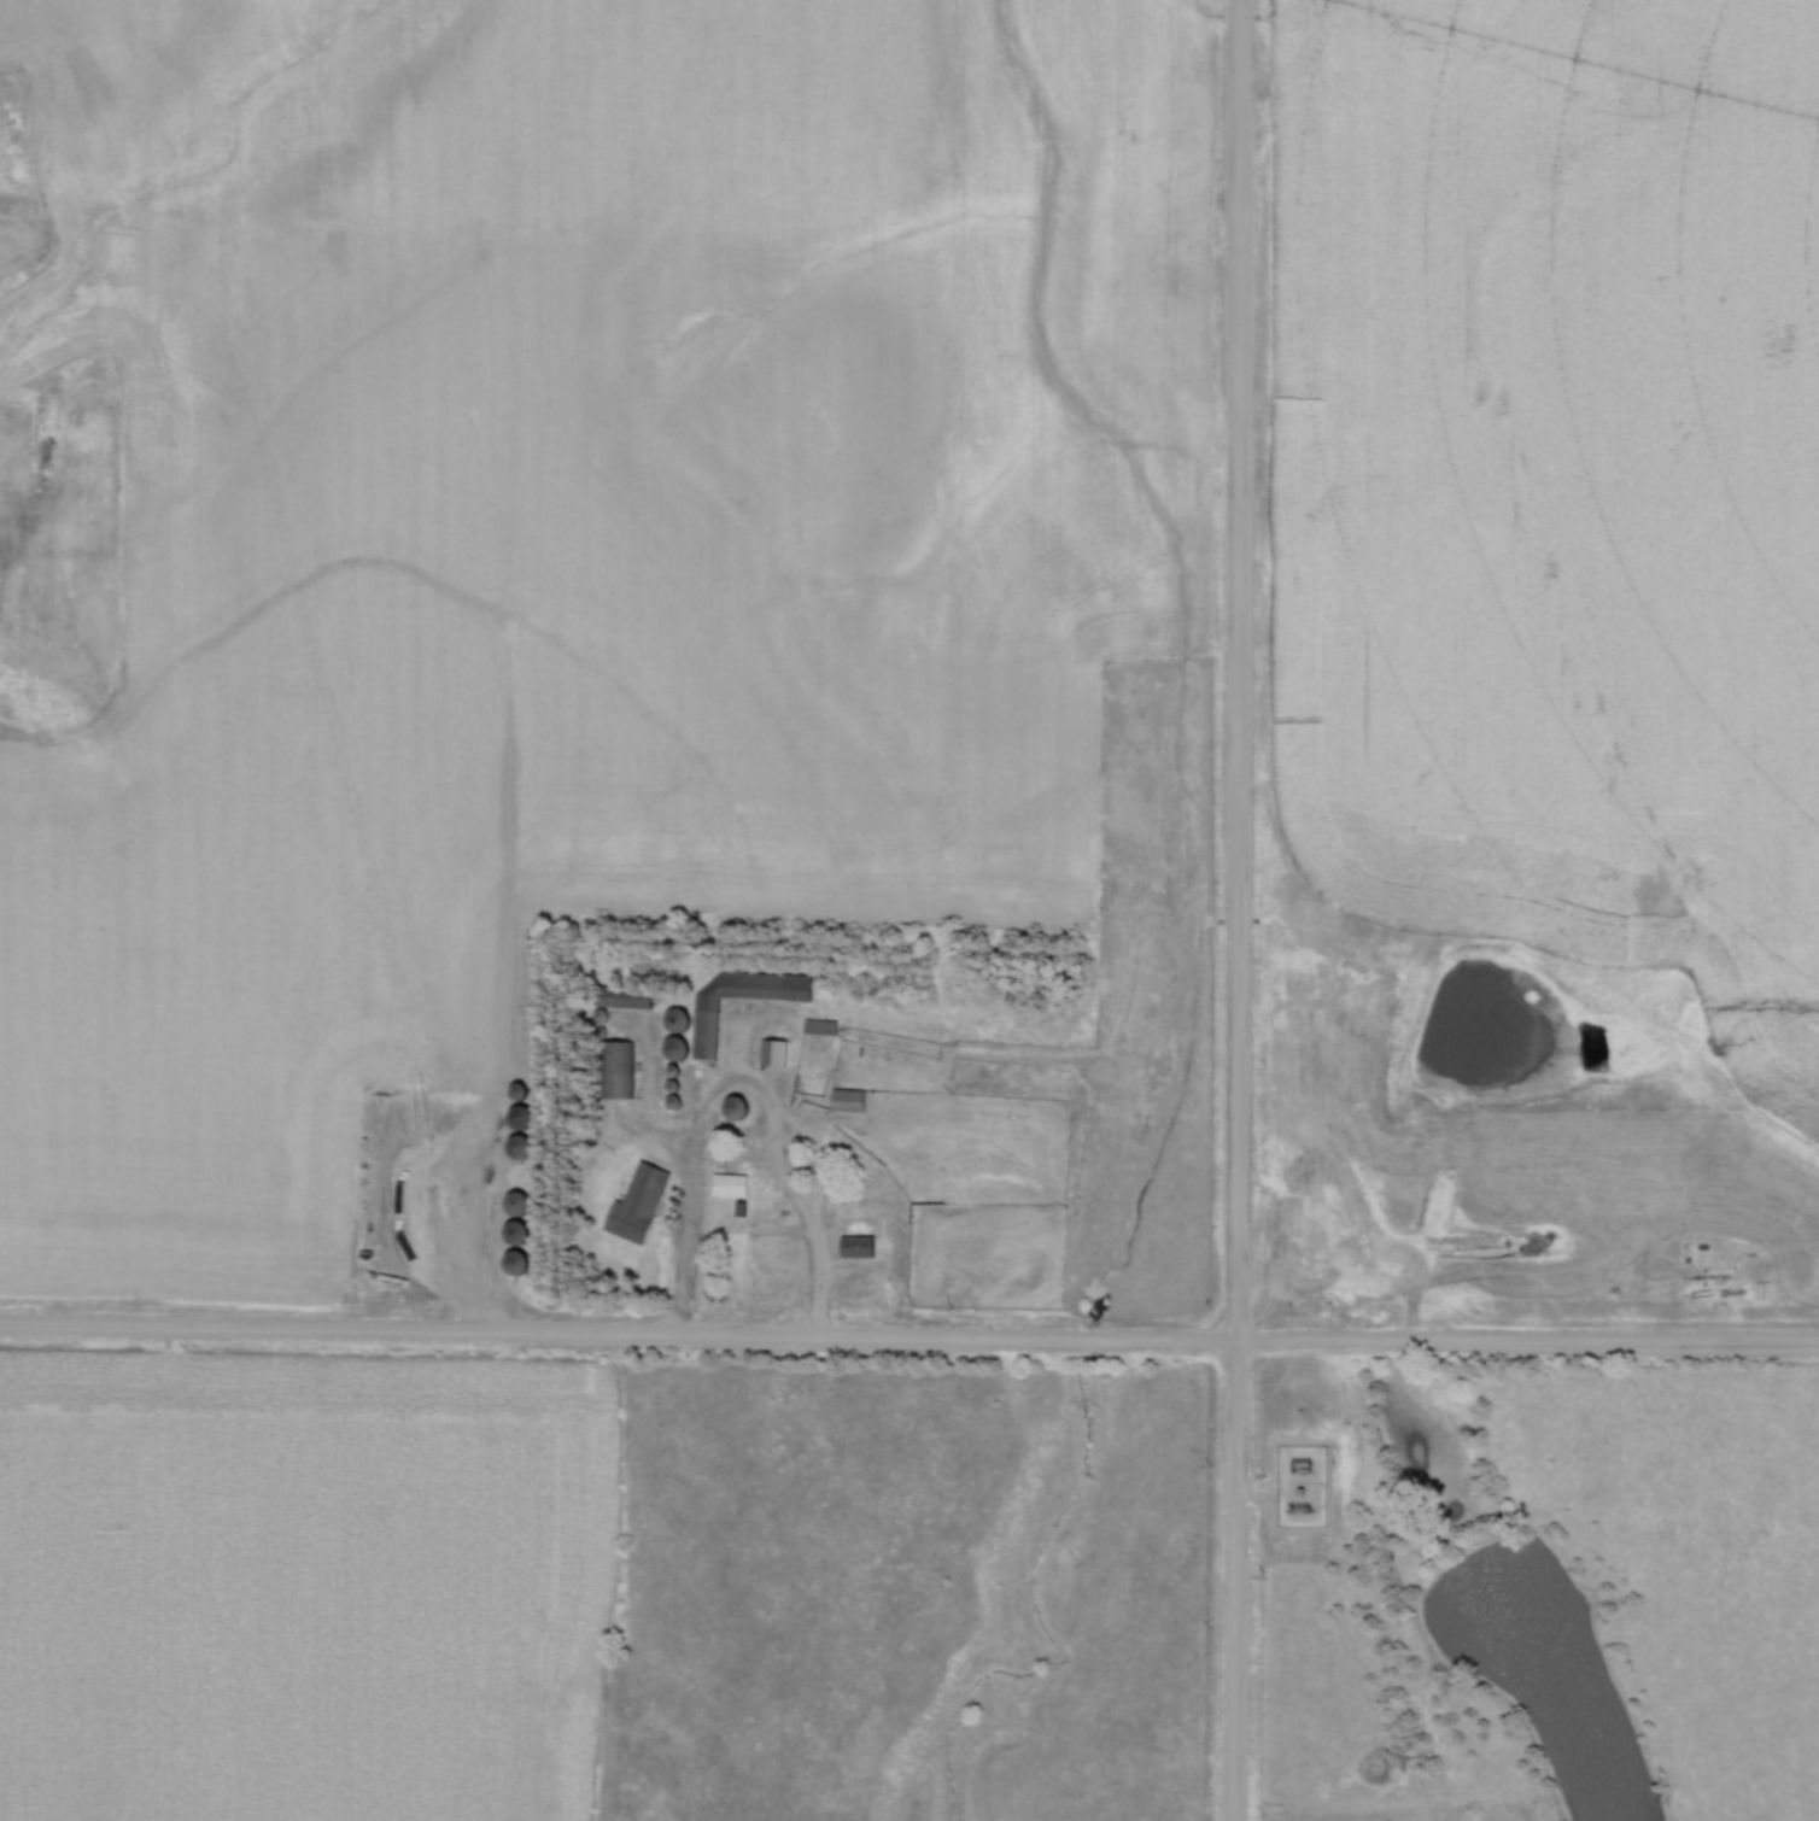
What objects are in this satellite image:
road: (1242, 910)
building: (627, 996)
building: (698, 1019)
building: (777, 1052)
building: (620, 1068)
road: (745, 1079)
building: (853, 1099)
building: (742, 1107)
building: (525, 1118)
building: (525, 1146)
building: (735, 1184)
building: (524, 1201)
building: (641, 1202)
building: (522, 1231)
building: (861, 1246)
building: (521, 1260)
road: (908, 1336)

